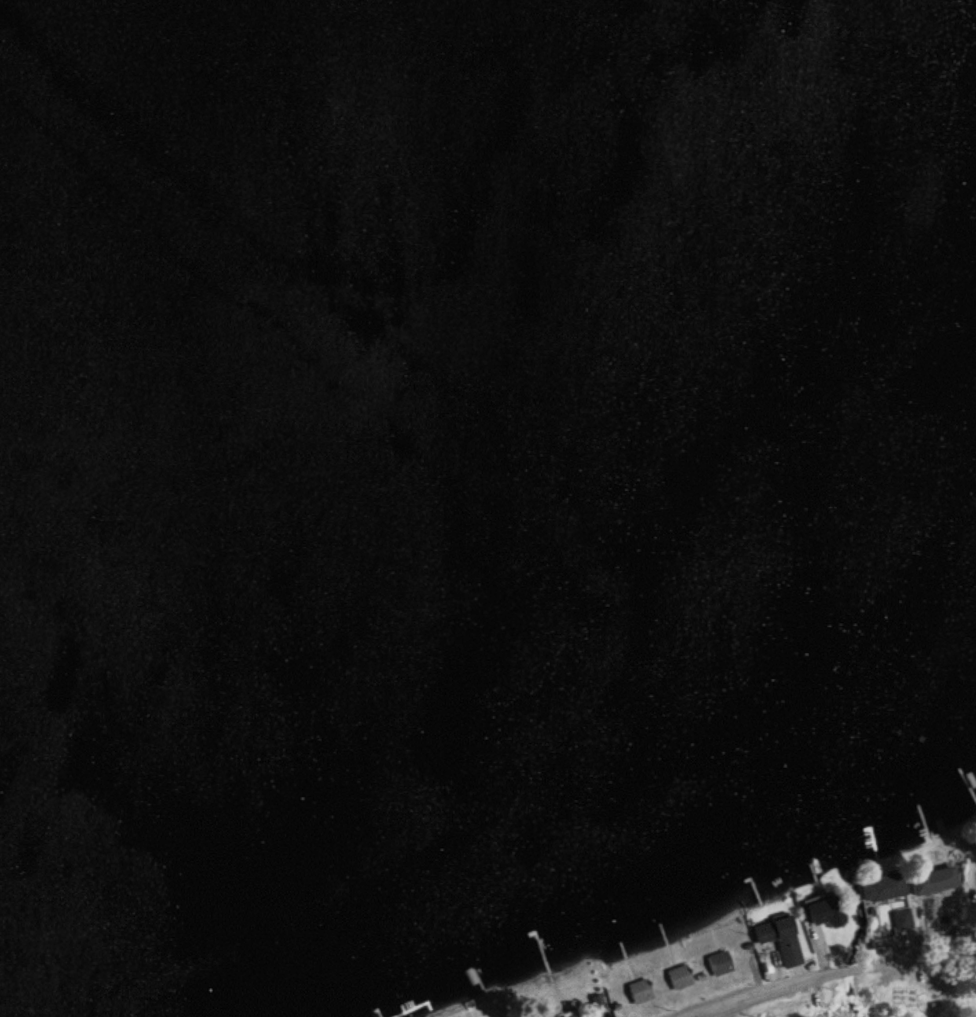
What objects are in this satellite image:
building: (933, 881)
building: (882, 887)
building: (823, 912)
building: (901, 919)
building: (778, 938)
road: (767, 960)
building: (717, 962)
building: (677, 975)
building: (638, 989)
building: (563, 1016)

